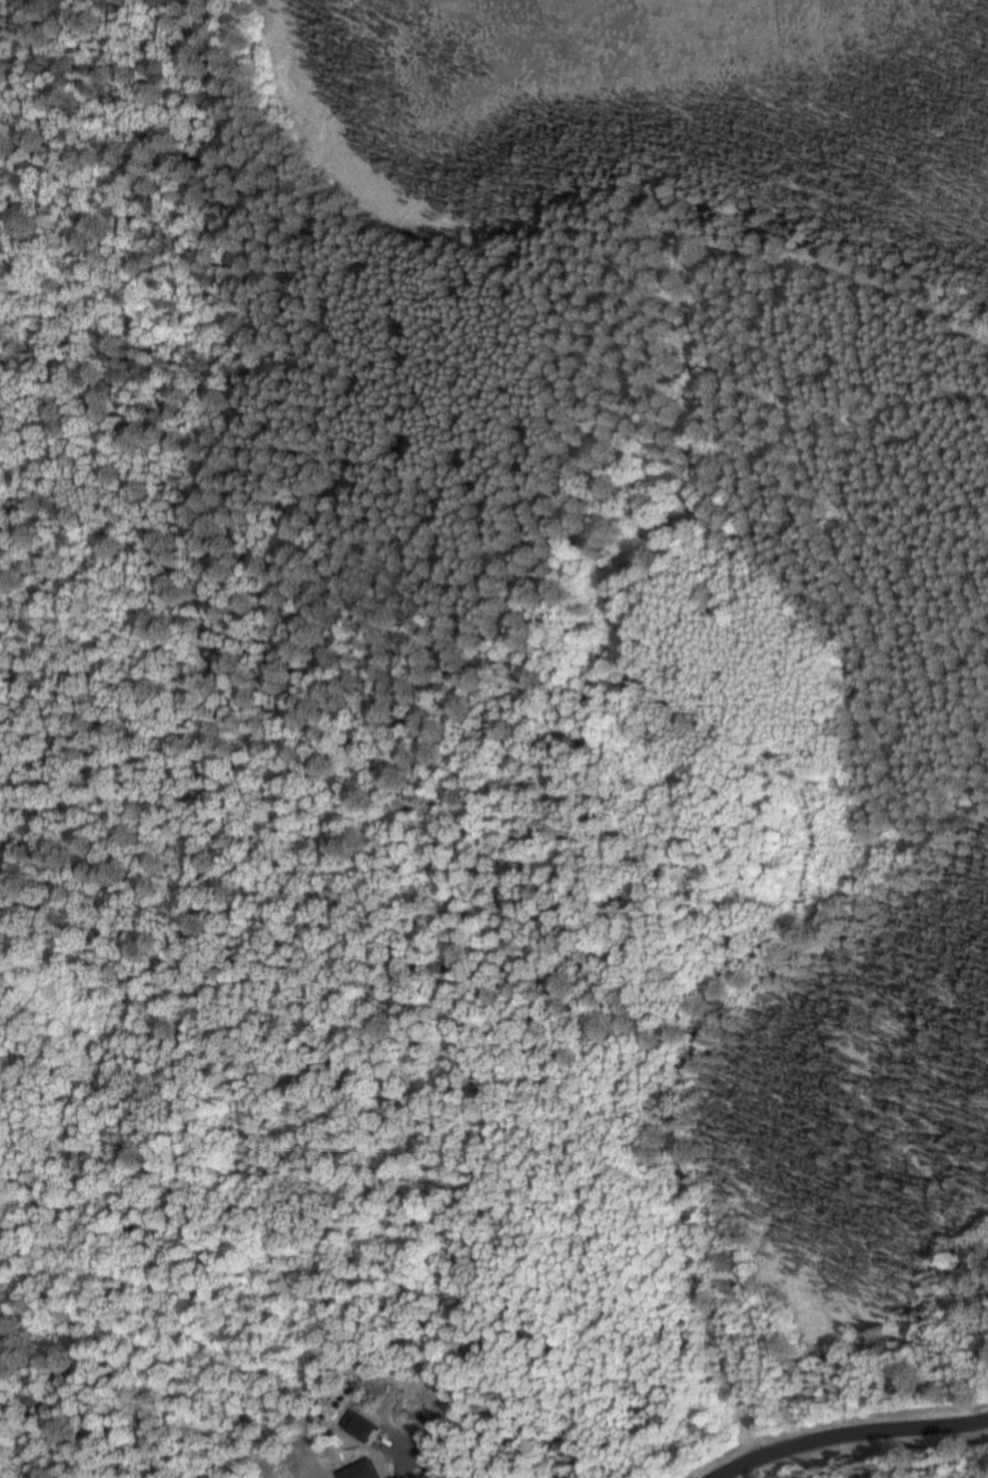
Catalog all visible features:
road: (855, 1443)

